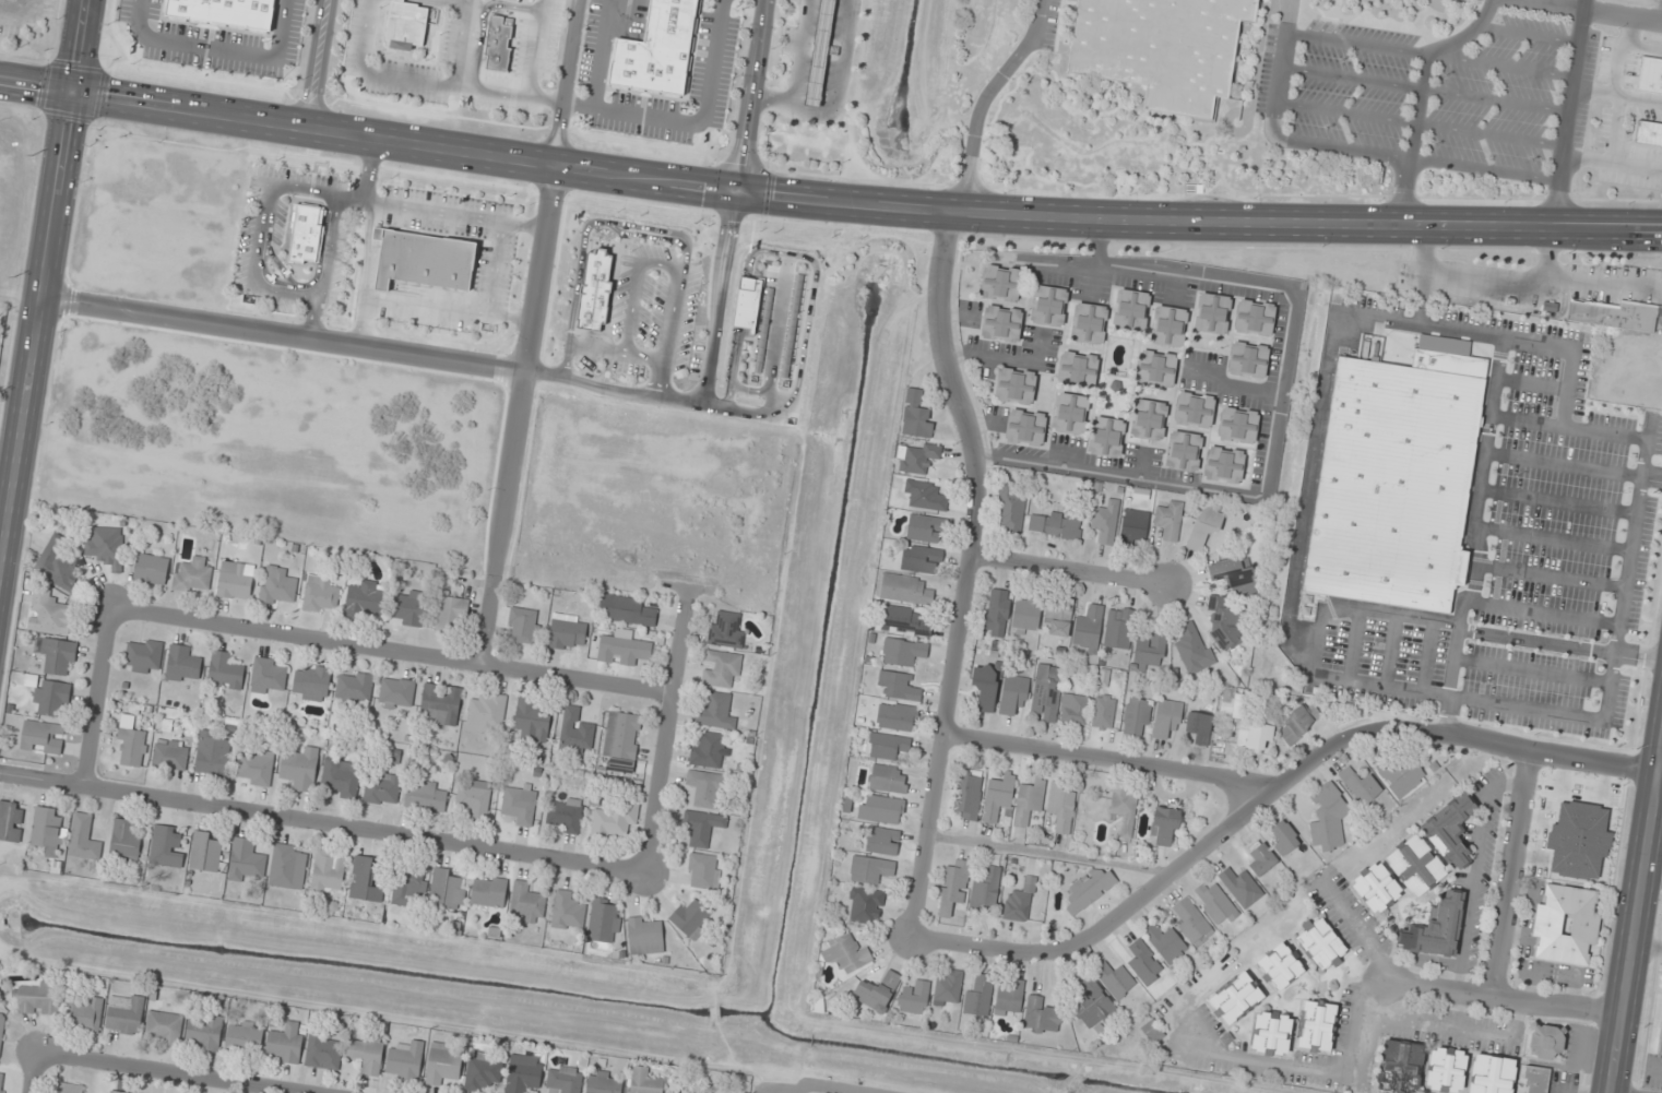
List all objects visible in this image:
building: (16, 0)
road: (1596, 10)
road: (21, 11)
building: (224, 11)
road: (1660, 11)
road: (484, 21)
building: (404, 24)
road: (632, 28)
road: (1528, 34)
road: (1355, 43)
road: (464, 44)
building: (497, 44)
road: (78, 46)
road: (535, 48)
building: (1159, 48)
road: (1645, 48)
road: (217, 49)
building: (655, 49)
road: (1617, 50)
road: (599, 52)
building: (819, 54)
gas station: (819, 54)
road: (317, 63)
road: (1500, 64)
building: (1649, 74)
road: (567, 82)
road: (427, 83)
road: (35, 85)
road: (1424, 90)
traffic signals: (71, 92)
parking lot: (1414, 93)
road: (751, 94)
road: (1617, 95)
road: (1420, 96)
road: (982, 99)
road: (1568, 112)
road: (692, 121)
road: (1418, 123)
road: (1616, 129)
building: (1648, 132)
road: (1275, 135)
road: (1612, 163)
road: (368, 168)
road: (1485, 169)
road: (308, 190)
road: (863, 204)
road: (454, 213)
building: (305, 234)
road: (1547, 257)
building: (422, 259)
road: (254, 264)
road: (325, 266)
road: (494, 268)
road: (366, 272)
building: (999, 283)
road: (1541, 286)
building: (1047, 305)
road: (448, 309)
building: (1130, 309)
building: (1211, 313)
building: (1613, 313)
road: (1423, 316)
building: (1253, 318)
building: (1000, 323)
building: (1088, 323)
building: (1166, 325)
road: (283, 333)
road: (35, 347)
building: (1246, 360)
building: (1154, 368)
building: (1076, 369)
road: (1538, 383)
building: (1013, 385)
building: (1192, 409)
building: (1068, 413)
road: (518, 414)
building: (916, 415)
road: (1532, 417)
building: (1147, 419)
building: (1235, 425)
building: (1023, 427)
building: (1104, 436)
building: (1182, 451)
building: (917, 456)
building: (1222, 464)
road: (1575, 464)
building: (1393, 480)
building: (925, 496)
road: (1558, 499)
building: (1010, 507)
building: (1170, 521)
building: (1105, 522)
building: (1054, 525)
building: (1204, 526)
building: (925, 528)
road: (1303, 528)
building: (1133, 530)
road: (1554, 535)
road: (1481, 537)
road: (1628, 540)
building: (106, 547)
building: (922, 559)
building: (57, 565)
building: (151, 569)
road: (1552, 569)
road: (1071, 571)
road: (967, 573)
building: (192, 575)
building: (236, 580)
building: (277, 586)
building: (905, 589)
building: (320, 594)
building: (1230, 597)
building: (365, 598)
road: (1546, 604)
building: (626, 609)
building: (408, 610)
building: (996, 613)
building: (1026, 613)
building: (49, 614)
building: (450, 614)
building: (1057, 618)
building: (905, 621)
building: (523, 625)
building: (1088, 628)
building: (1118, 628)
building: (726, 629)
building: (567, 631)
road: (1560, 643)
building: (622, 649)
building: (1192, 649)
road: (393, 651)
building: (902, 651)
building: (1148, 651)
building: (143, 656)
road: (1392, 656)
building: (57, 657)
road: (1428, 662)
building: (182, 664)
building: (721, 669)
building: (225, 672)
building: (269, 676)
road: (1314, 676)
road: (1530, 678)
building: (311, 684)
building: (899, 686)
building: (985, 687)
building: (354, 688)
road: (1356, 691)
building: (1046, 692)
building: (395, 693)
building: (1013, 696)
building: (51, 699)
road: (98, 699)
building: (441, 703)
building: (1227, 708)
building: (1073, 710)
building: (715, 712)
building: (486, 714)
building: (897, 716)
building: (1137, 717)
building: (1167, 718)
building: (532, 720)
building: (1297, 723)
building: (1199, 726)
building: (575, 729)
building: (1254, 736)
building: (43, 737)
building: (621, 740)
road: (667, 740)
building: (130, 741)
building: (886, 746)
building: (708, 750)
building: (212, 755)
building: (170, 756)
building: (256, 768)
building: (300, 768)
road: (1301, 771)
building: (1401, 774)
building: (341, 779)
building: (889, 779)
building: (1360, 786)
building: (704, 787)
building: (382, 789)
building: (967, 794)
building: (426, 796)
building: (998, 796)
building: (474, 798)
building: (1029, 801)
building: (519, 804)
building: (1060, 806)
building: (880, 809)
building: (1125, 809)
building: (563, 815)
building: (1328, 819)
building: (10, 821)
road: (322, 822)
building: (610, 822)
building: (702, 827)
building: (1164, 827)
building: (1450, 829)
building: (46, 831)
building: (1283, 836)
building: (84, 837)
building: (124, 840)
building: (882, 841)
building: (1578, 841)
building: (167, 845)
building: (206, 852)
building: (1261, 859)
building: (246, 860)
building: (1415, 865)
building: (286, 866)
building: (870, 869)
building: (703, 870)
building: (328, 871)
road: (1516, 872)
building: (366, 880)
building: (408, 887)
building: (953, 887)
building: (1240, 887)
building: (1376, 888)
building: (1089, 889)
building: (448, 890)
building: (986, 890)
building: (488, 892)
building: (526, 903)
building: (1215, 903)
building: (865, 905)
building: (1017, 905)
building: (568, 911)
road: (1637, 912)
building: (690, 918)
building: (604, 920)
building: (1189, 920)
building: (1566, 925)
building: (1436, 929)
road: (1108, 930)
building: (645, 935)
building: (1165, 942)
building: (1320, 943)
building: (845, 954)
building: (1143, 962)
building: (1280, 966)
building: (1115, 979)
building: (948, 988)
road: (1450, 989)
building: (877, 991)
building: (978, 994)
building: (914, 997)
building: (1009, 997)
building: (37, 998)
building: (1235, 998)
building: (1091, 1000)
building: (124, 1013)
building: (85, 1014)
building: (1041, 1017)
building: (1317, 1025)
building: (1, 1027)
building: (164, 1027)
building: (203, 1032)
building: (1152, 1032)
building: (1271, 1033)
building: (245, 1036)
building: (1545, 1042)
building: (285, 1043)
building: (1660, 1043)
building: (323, 1054)
building: (366, 1055)
building: (405, 1060)
building: (442, 1064)
building: (1400, 1067)
building: (1446, 1070)
building: (483, 1071)
road: (35, 1073)
road: (162, 1073)
building: (523, 1073)
building: (1491, 1074)
building: (565, 1079)
building: (1535, 1079)
building: (644, 1081)
building: (2, 1082)
building: (604, 1082)
building: (67, 1089)
building: (115, 1092)

